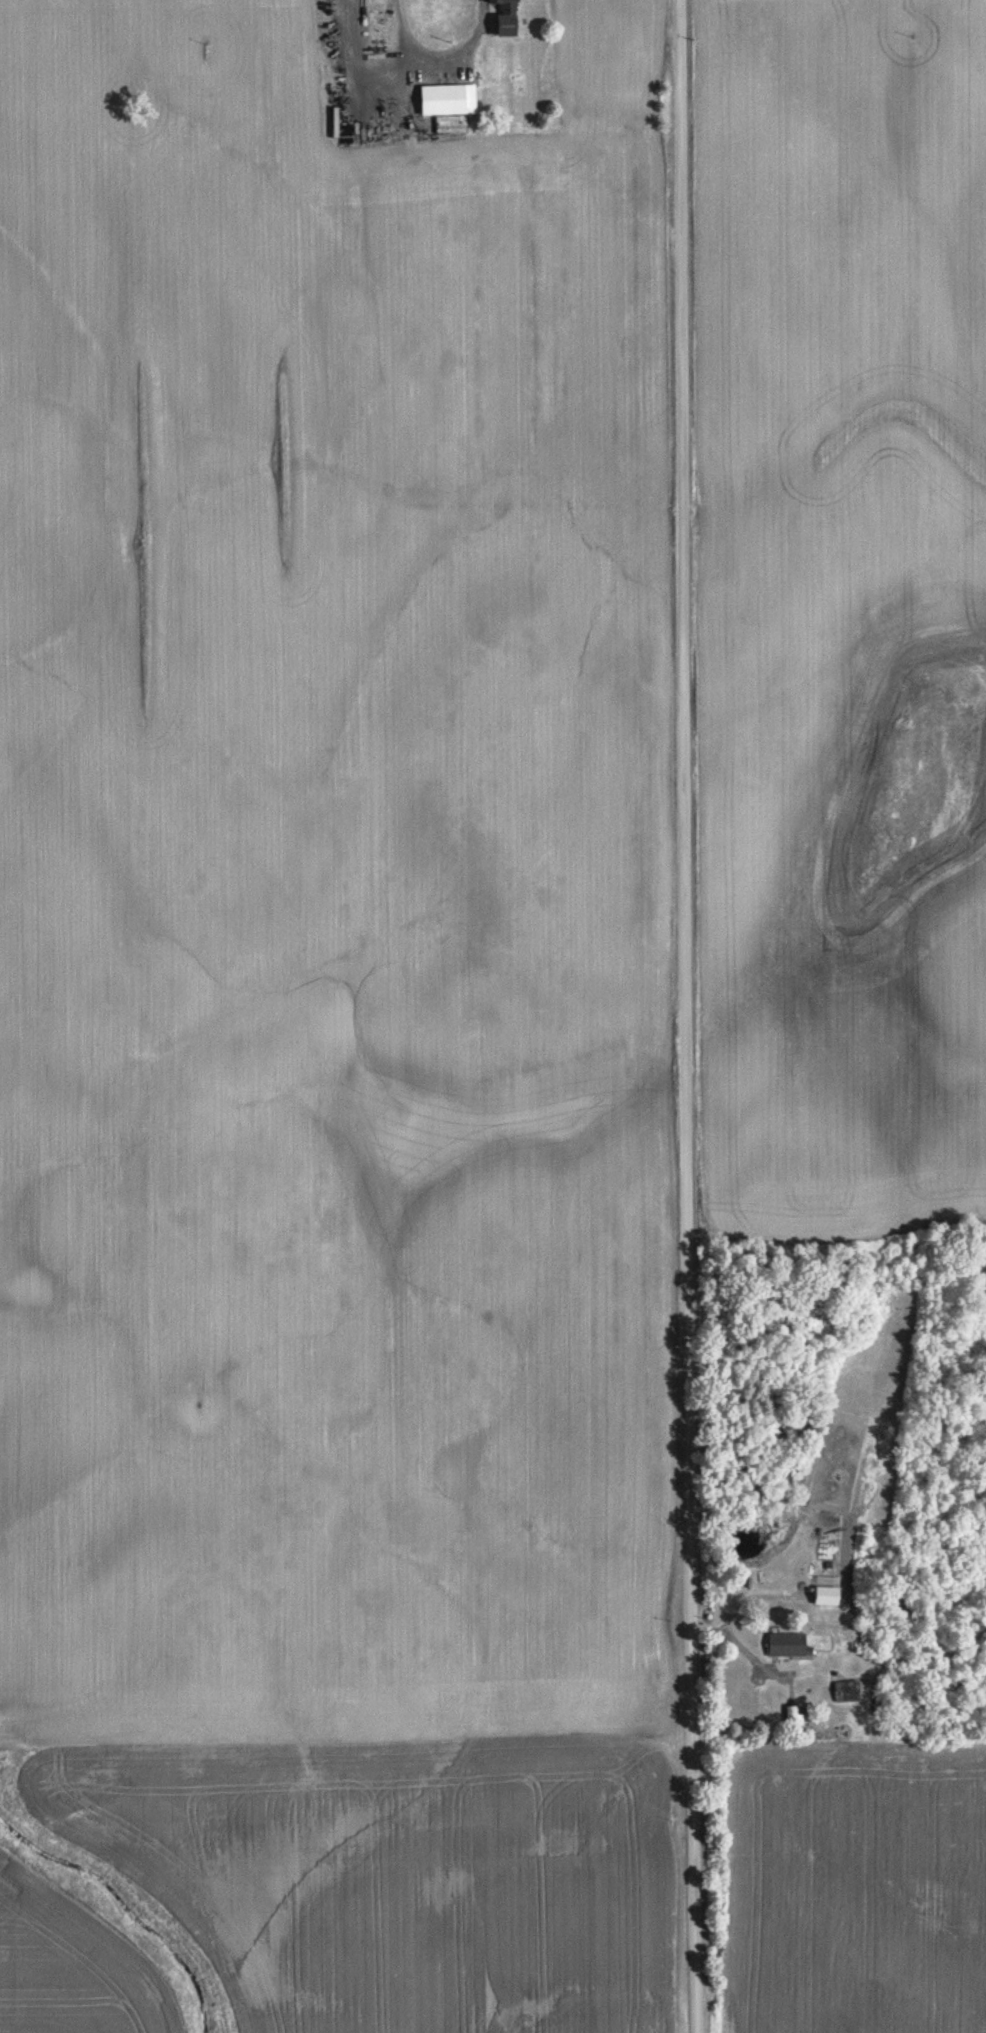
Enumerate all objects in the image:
building: (505, 16)
building: (446, 98)
road: (686, 1016)
building: (825, 1594)
building: (785, 1642)
building: (793, 1715)

